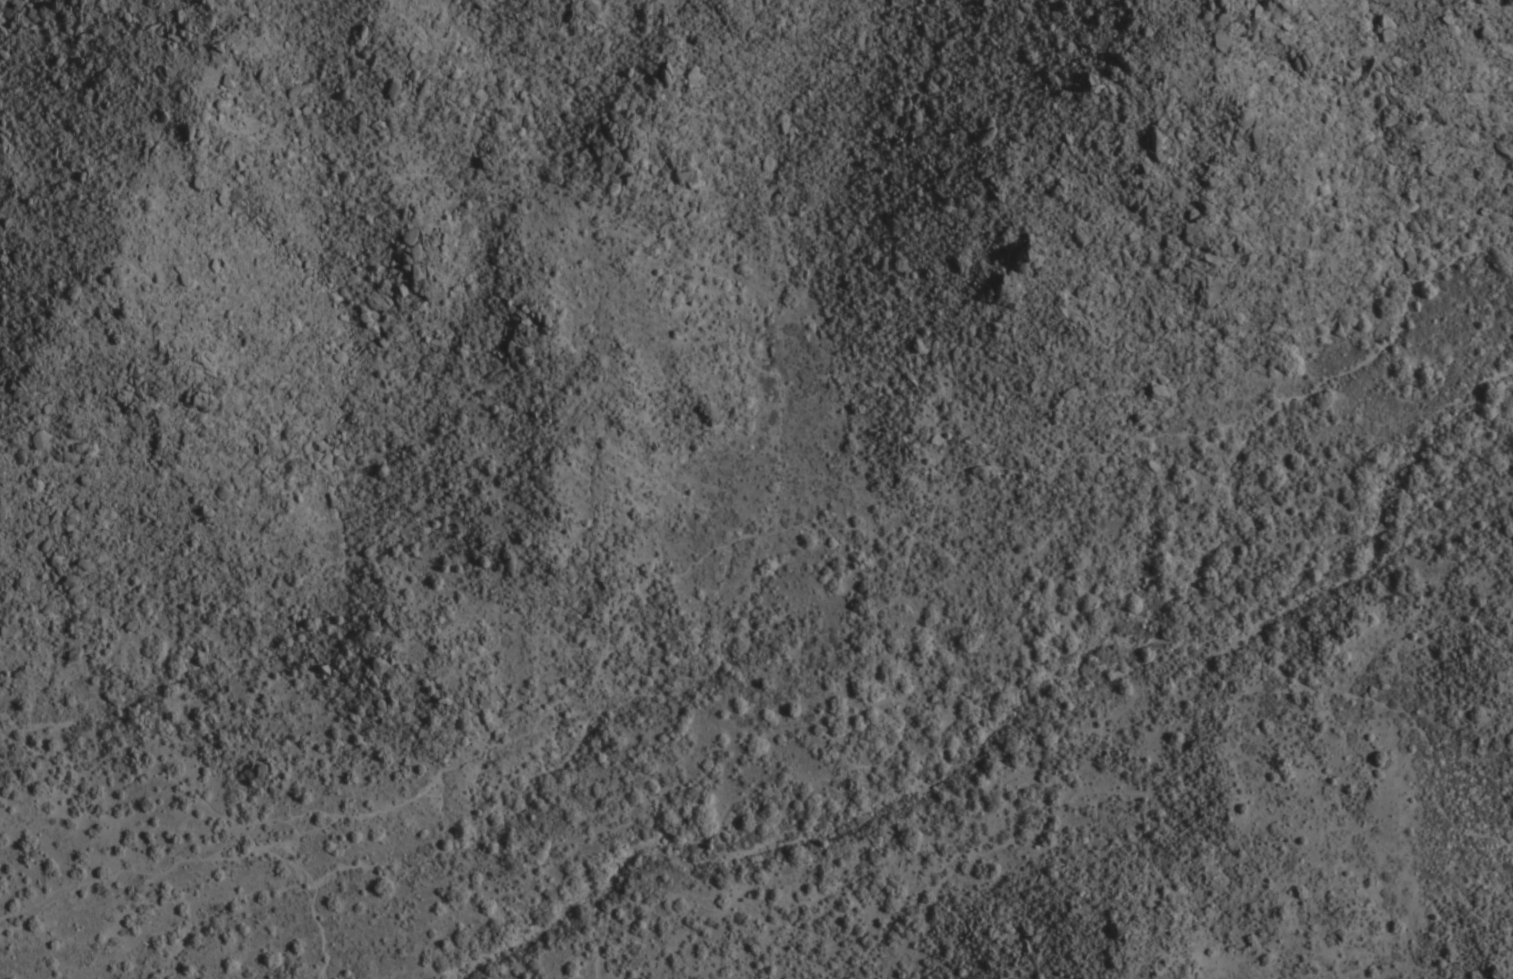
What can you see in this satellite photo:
building: (617, 142)
building: (518, 359)
building: (1160, 392)
road: (923, 525)
road: (472, 762)
road: (187, 857)
park: (157, 918)

